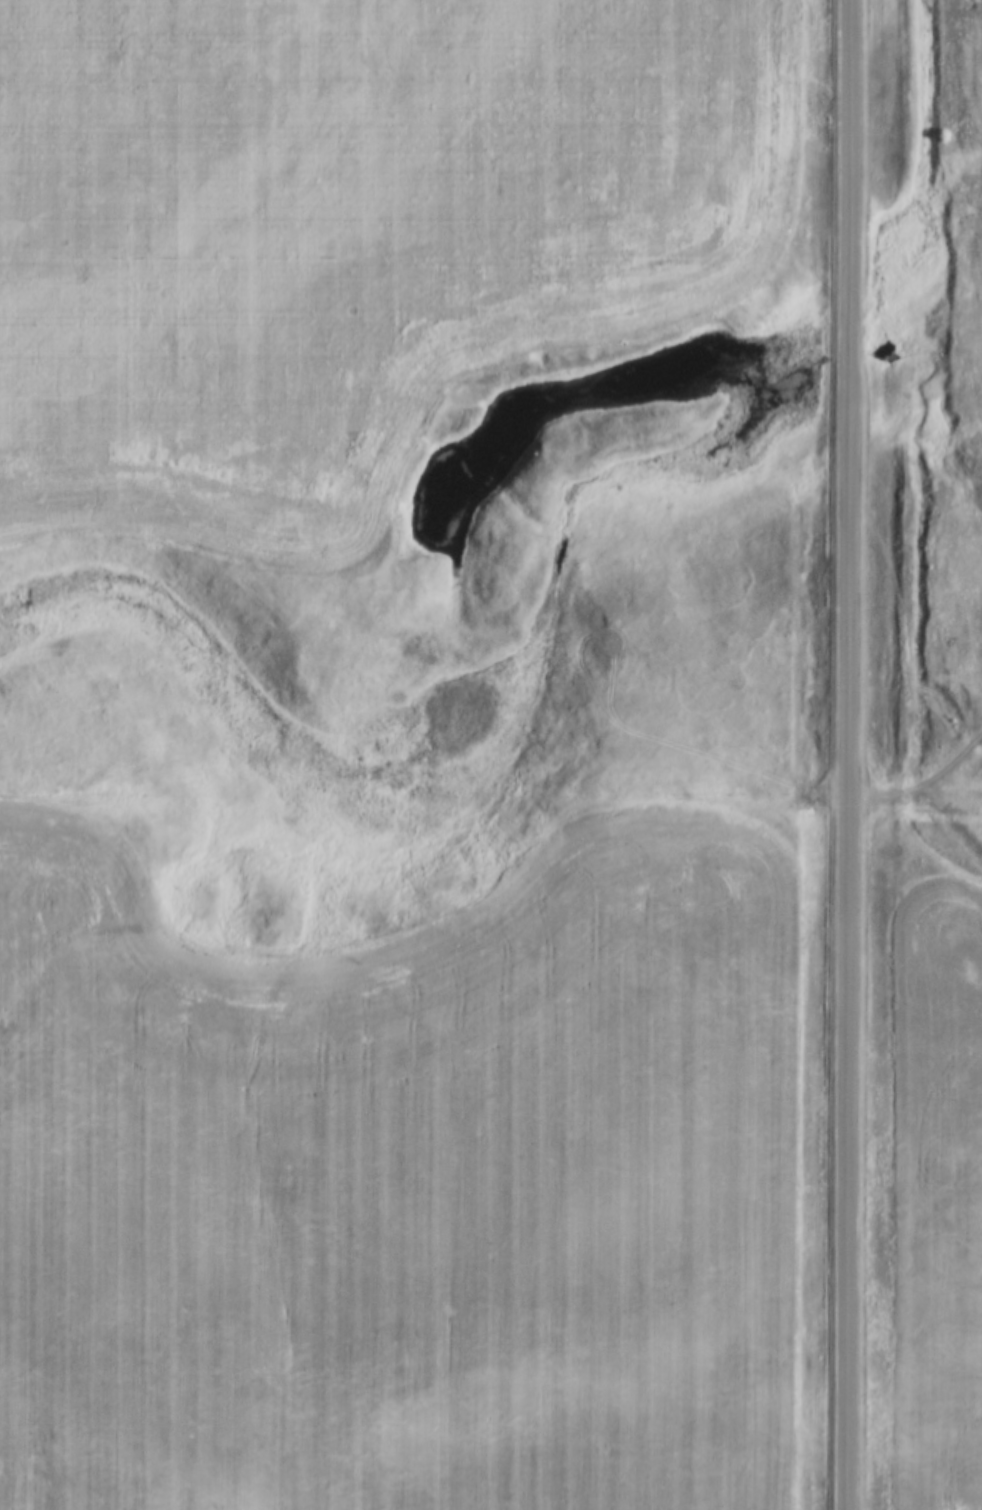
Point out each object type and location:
road: (980, 51)
quarry: (950, 417)
road: (847, 754)

